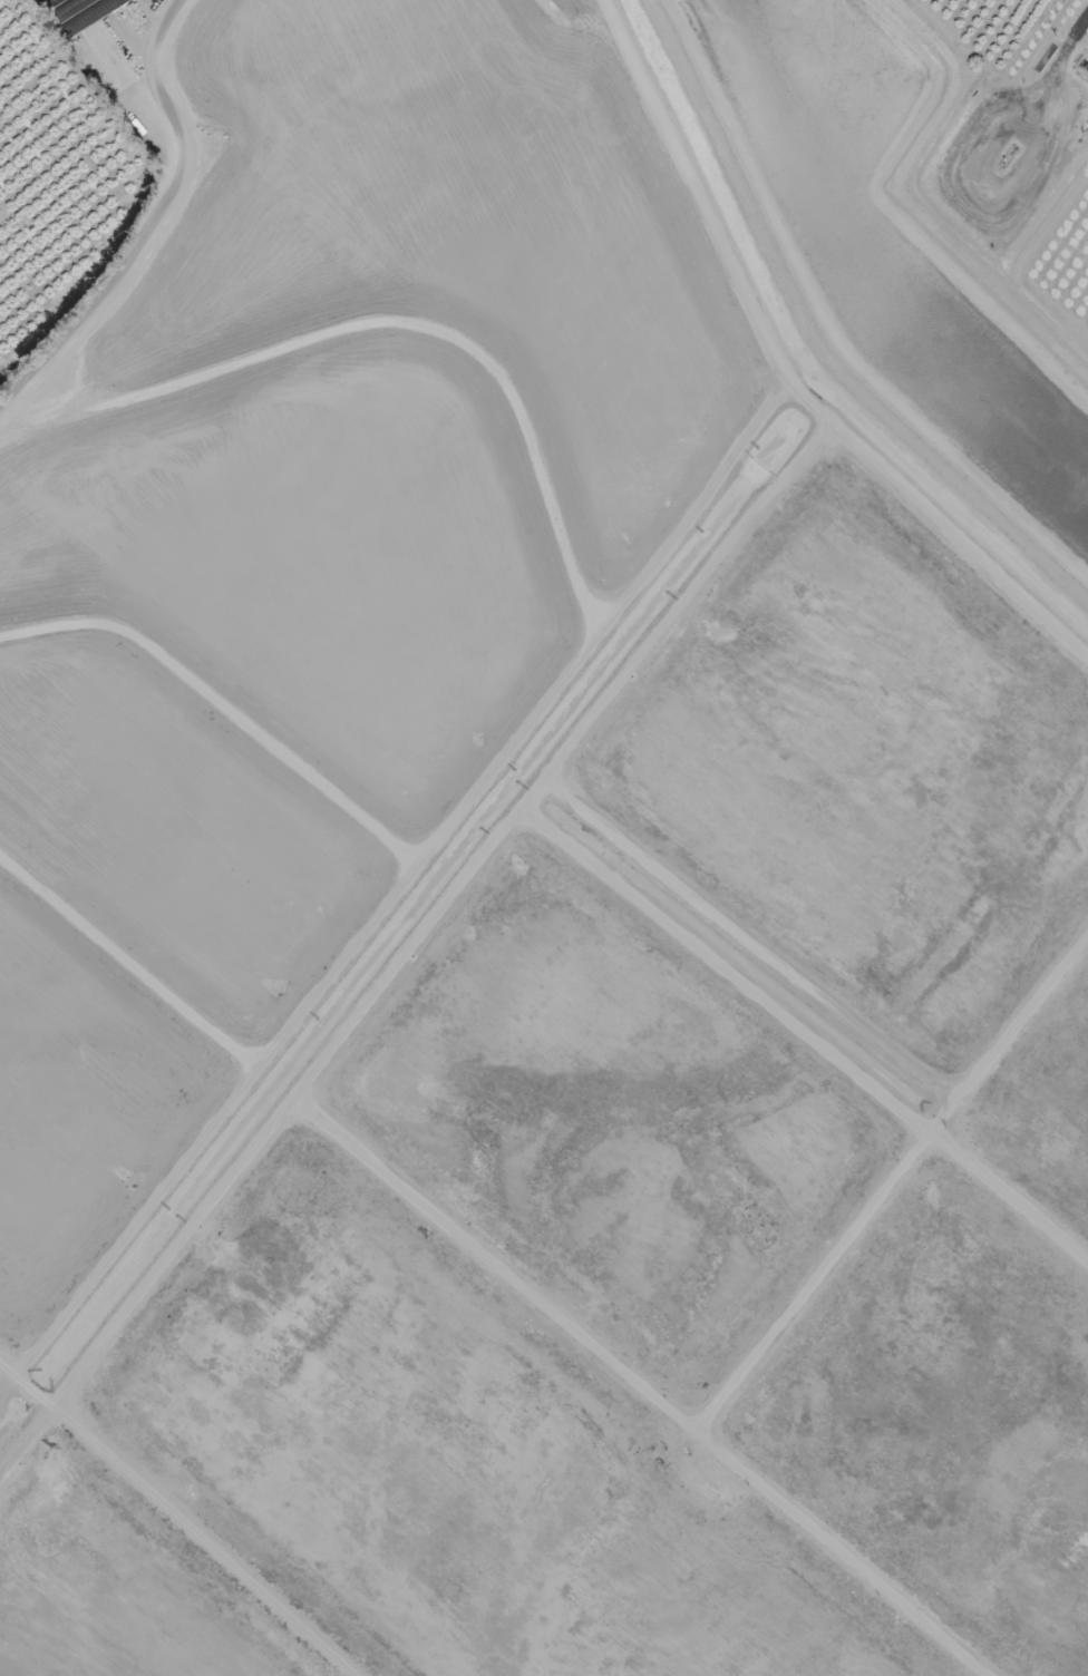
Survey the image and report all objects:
building: (52, 2)
building: (100, 2)
crop: (129, 29)
road: (1068, 50)
road: (157, 222)

